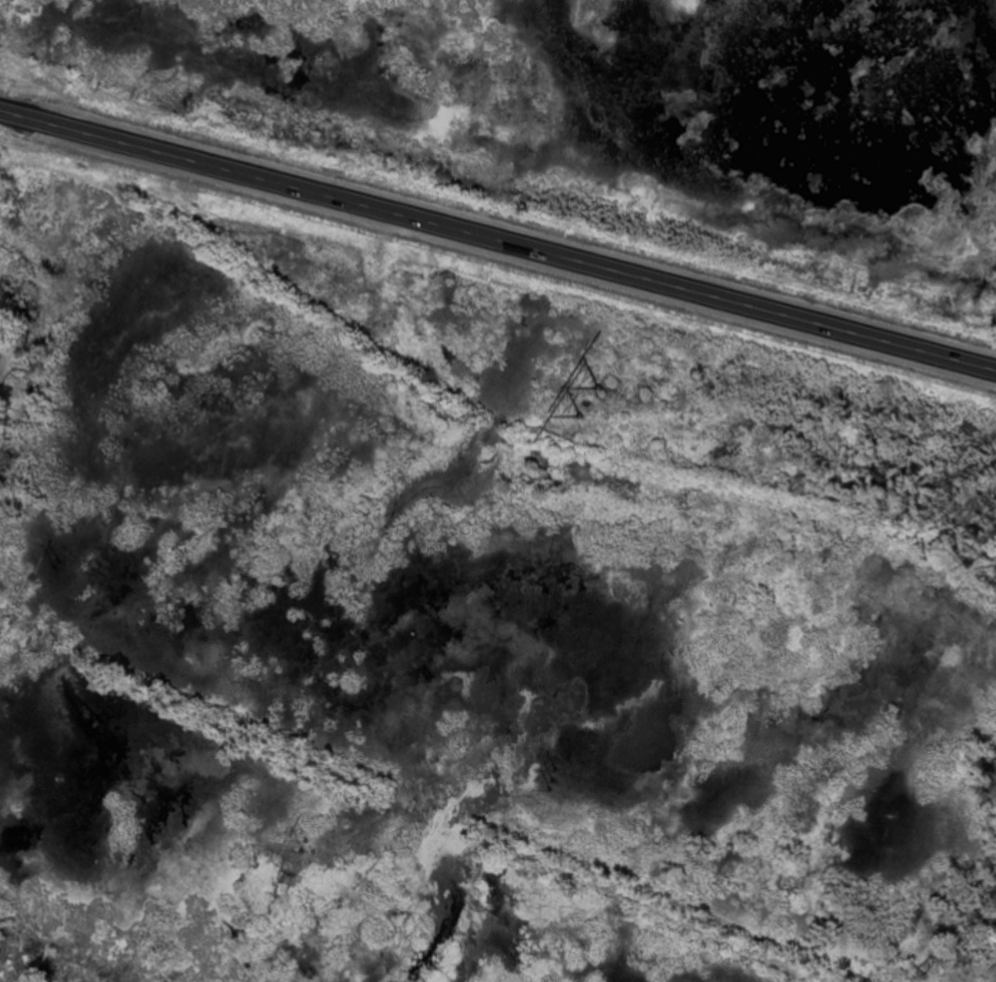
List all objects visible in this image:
road: (498, 238)
power tower: (589, 396)
power tower: (53, 564)
power tower: (548, 773)
power tower: (296, 832)

